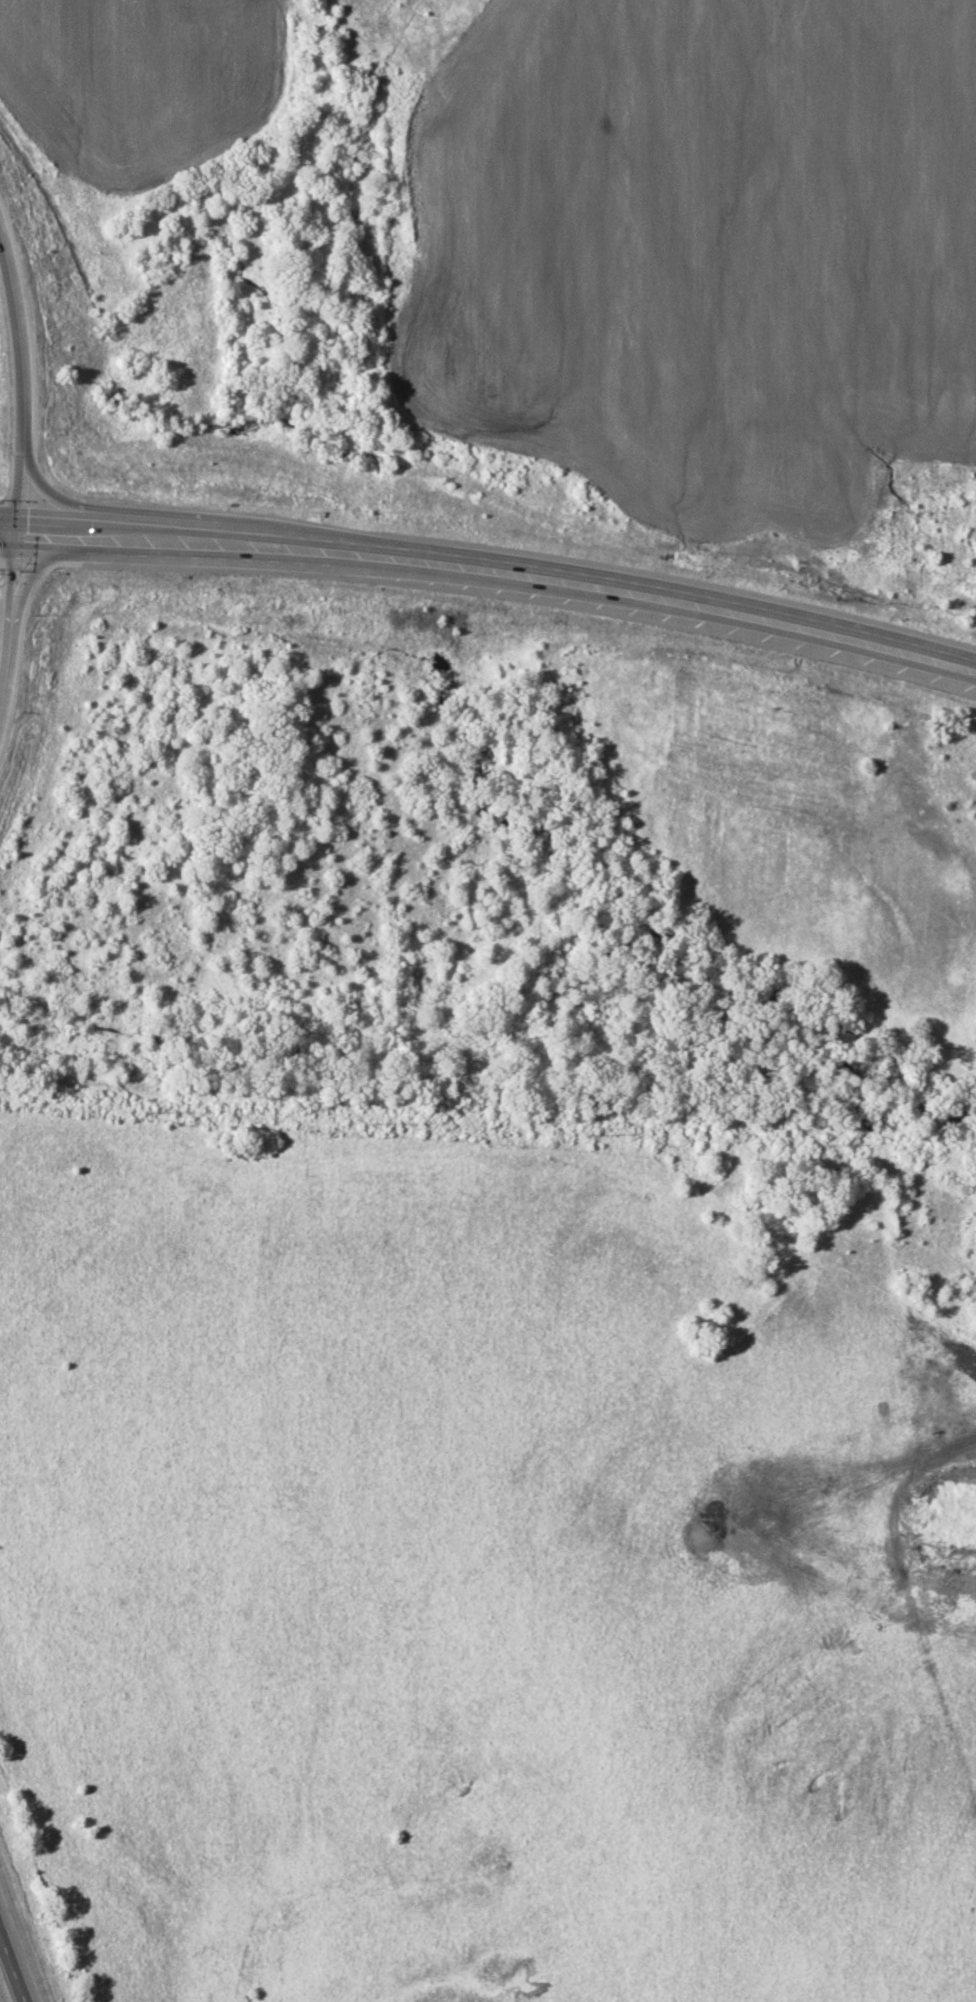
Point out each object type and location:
crop: (122, 153)
crop: (714, 263)
road: (19, 387)
road: (55, 502)
road: (7, 534)
road: (46, 564)
road: (500, 570)
road: (13, 572)
road: (5, 659)
road: (974, 1768)
road: (15, 1959)

